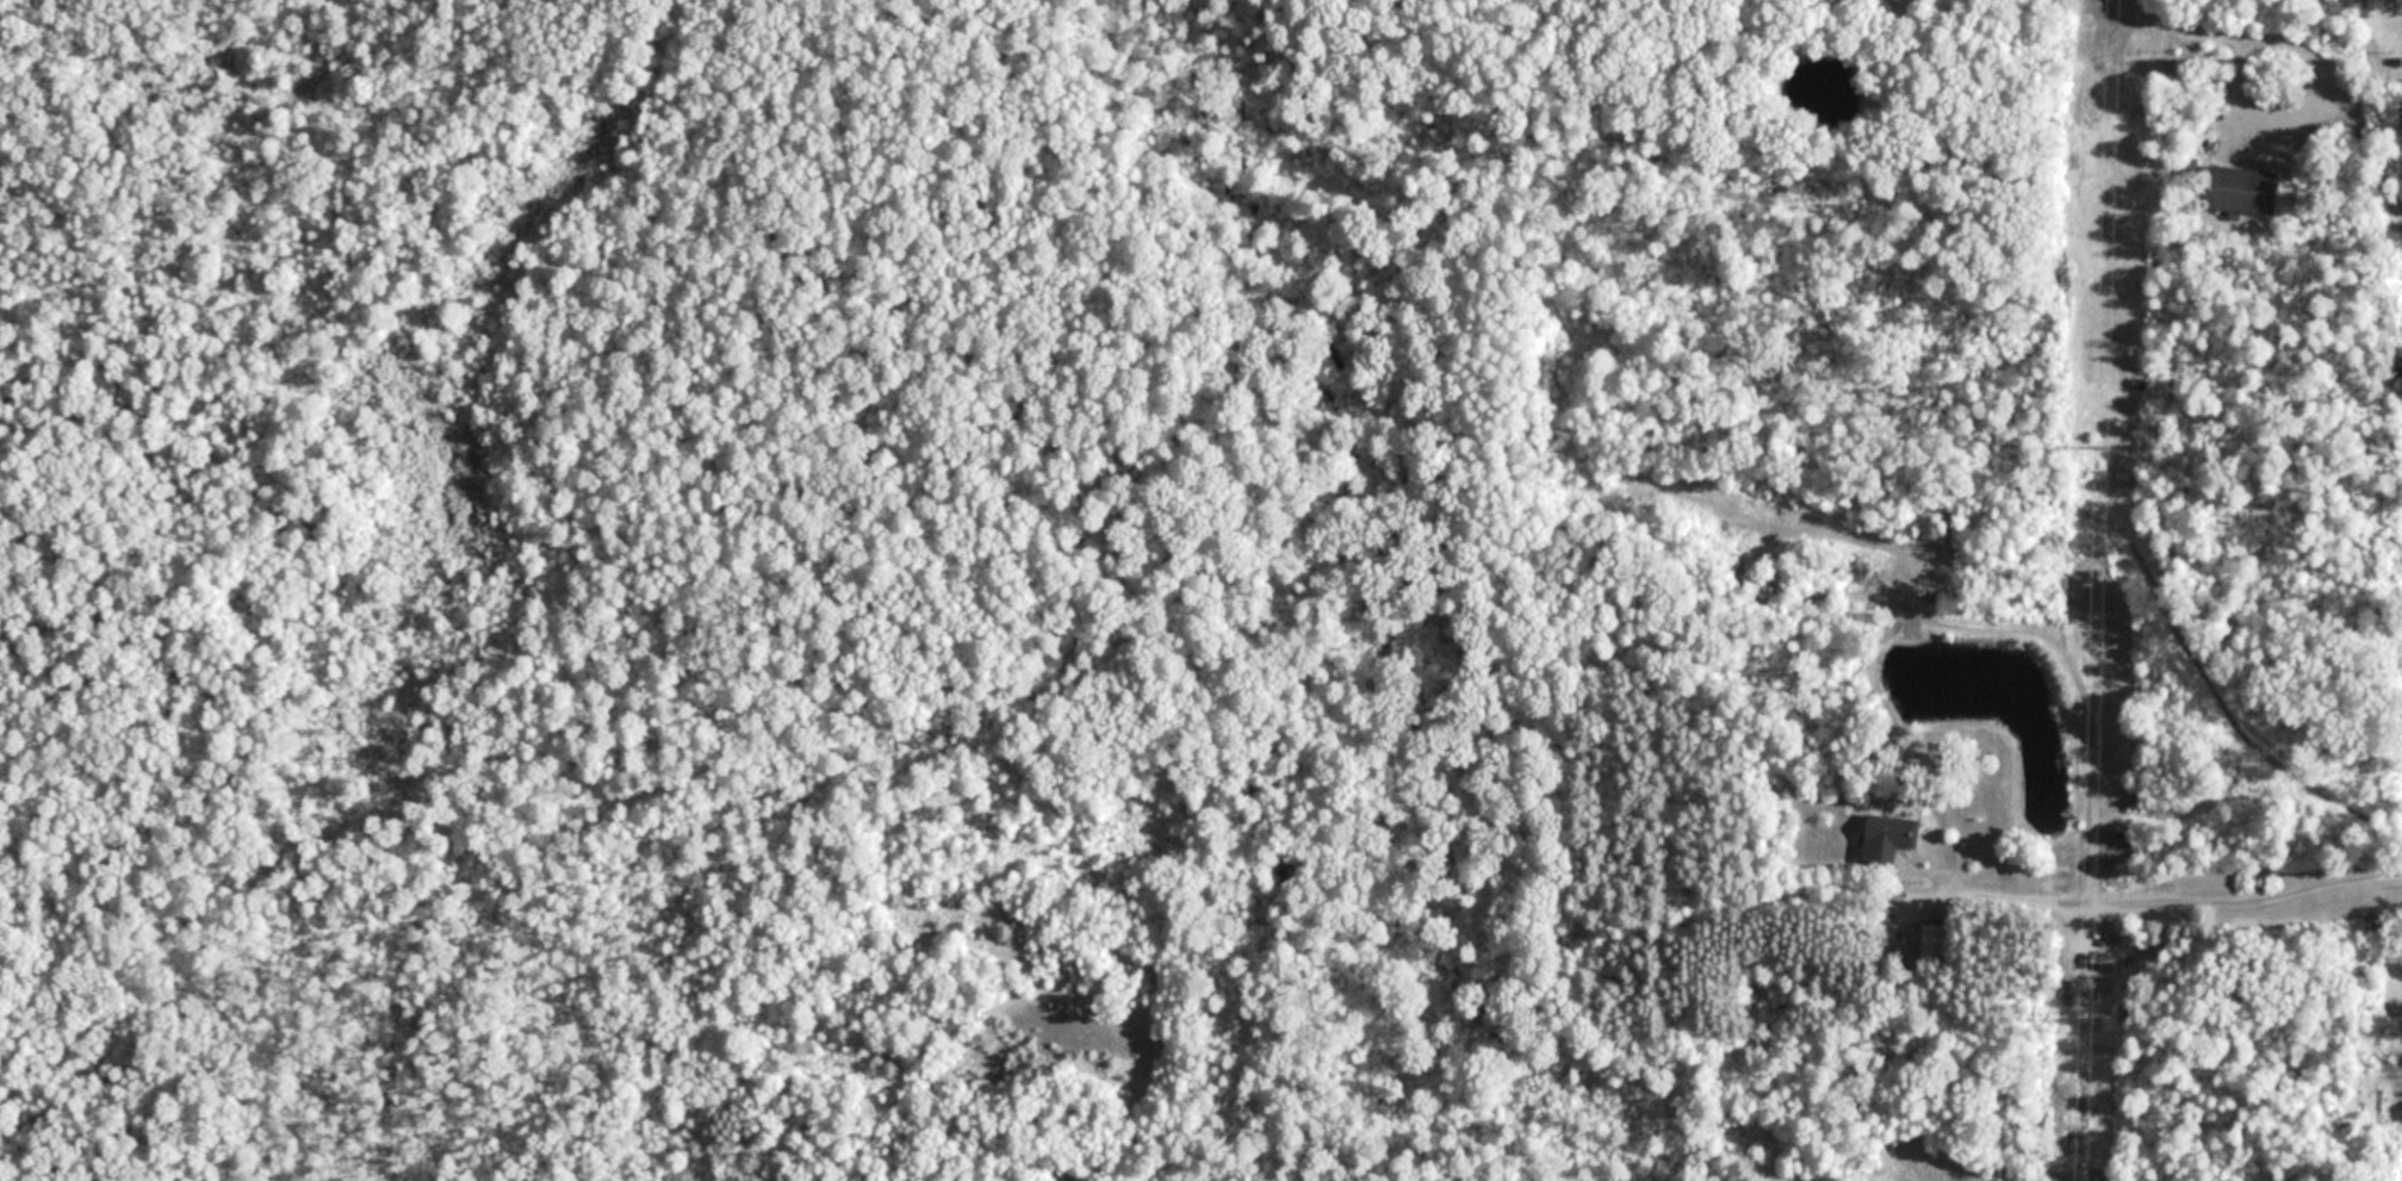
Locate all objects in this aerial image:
road: (1879, 15)
road: (2315, 43)
building: (2245, 189)
power tower: (2104, 449)
park: (738, 592)
building: (1889, 837)
road: (2170, 888)
power tower: (2088, 1021)

